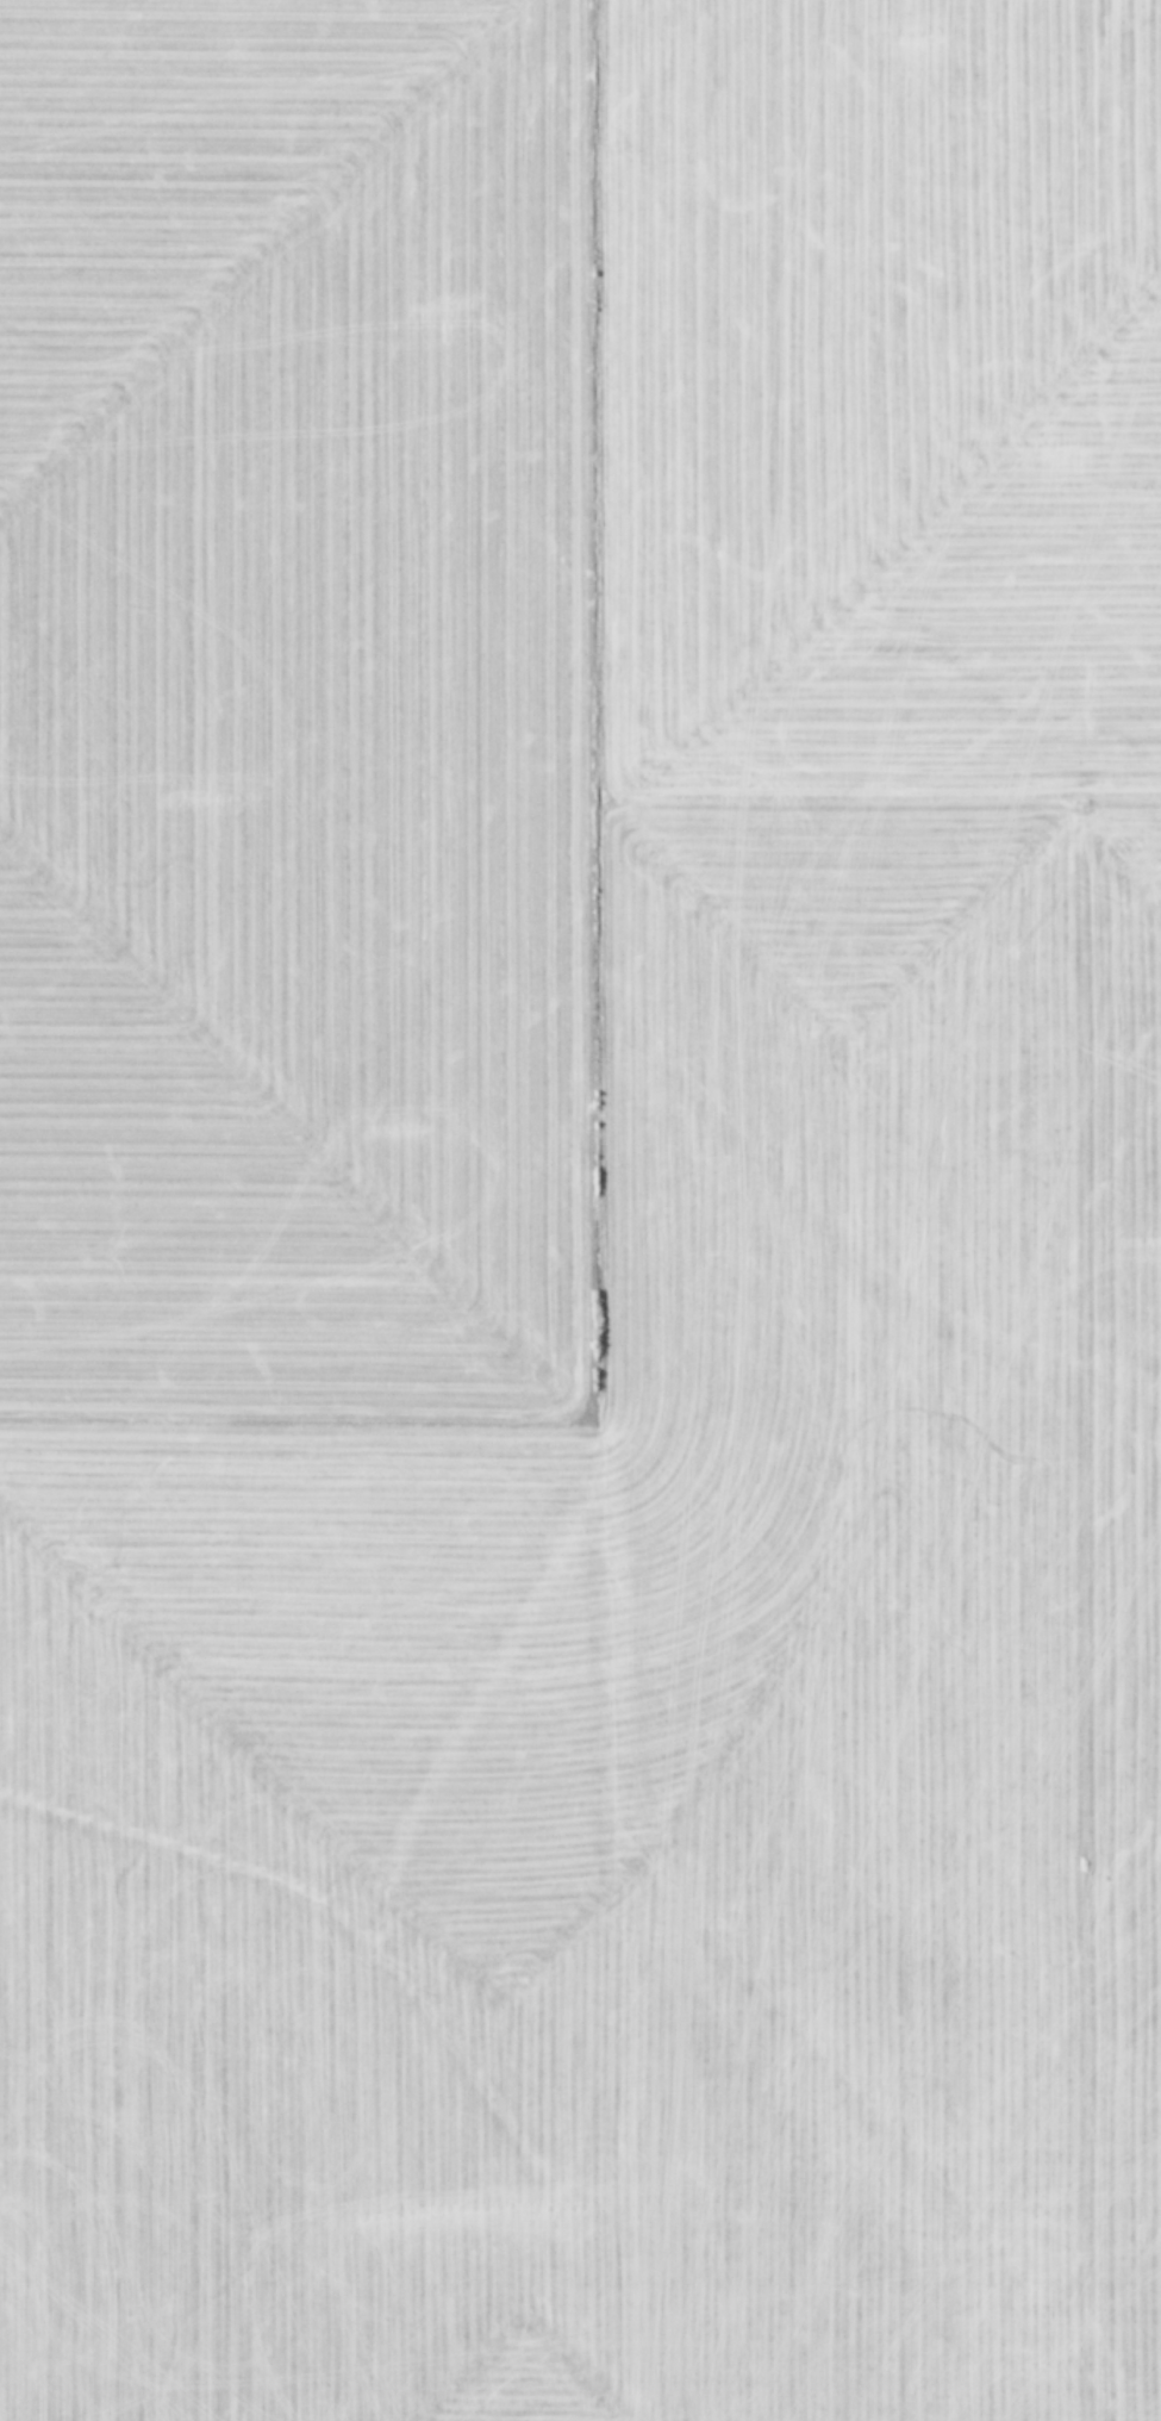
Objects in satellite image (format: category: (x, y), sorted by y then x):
crop: (580, 1210)

